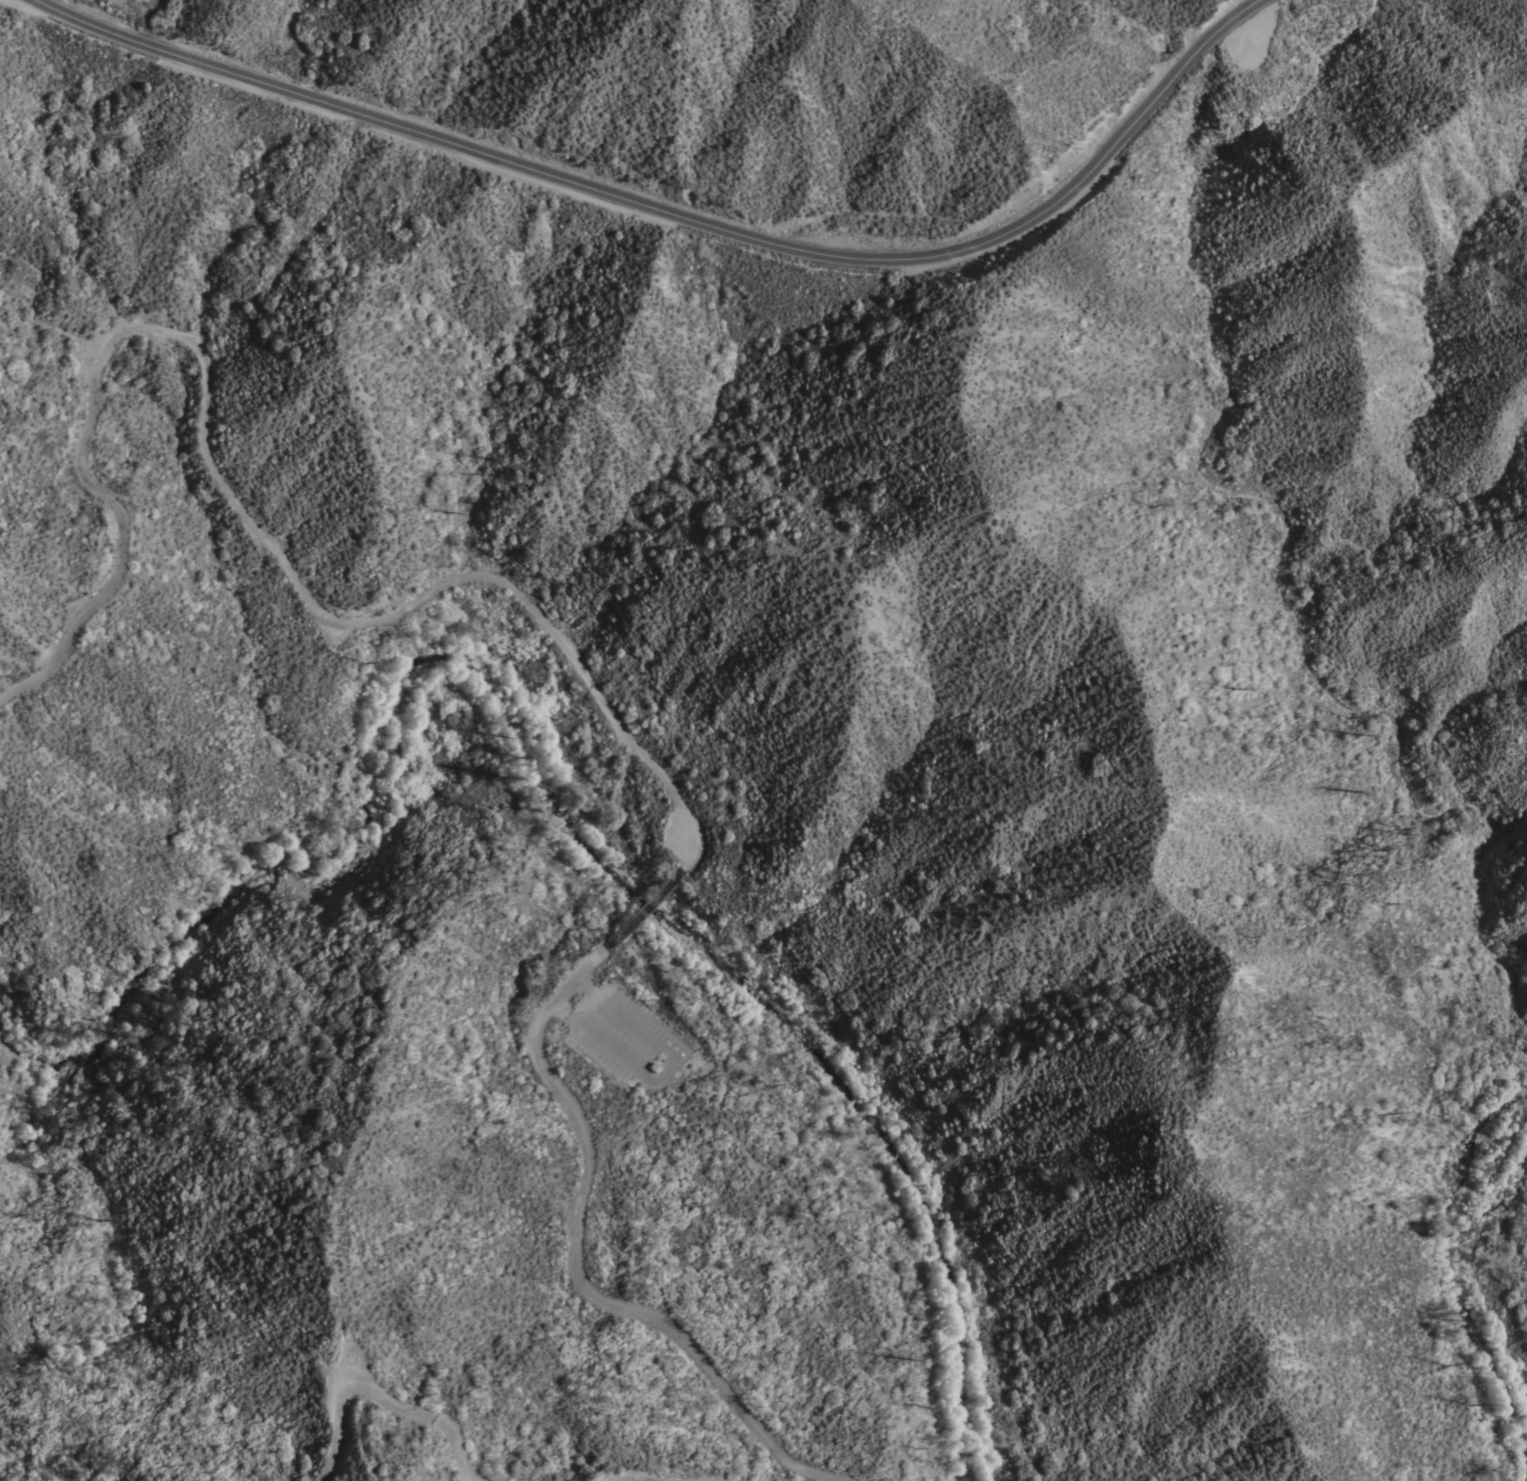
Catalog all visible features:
road: (683, 217)
road: (230, 493)
road: (680, 790)
river: (569, 800)
road: (679, 863)
road: (636, 906)
parking lot: (630, 1036)
road: (663, 1068)
road: (855, 1232)
road: (576, 1265)
river: (1463, 1283)
road: (356, 1381)
road: (465, 1463)
road: (668, 1478)

